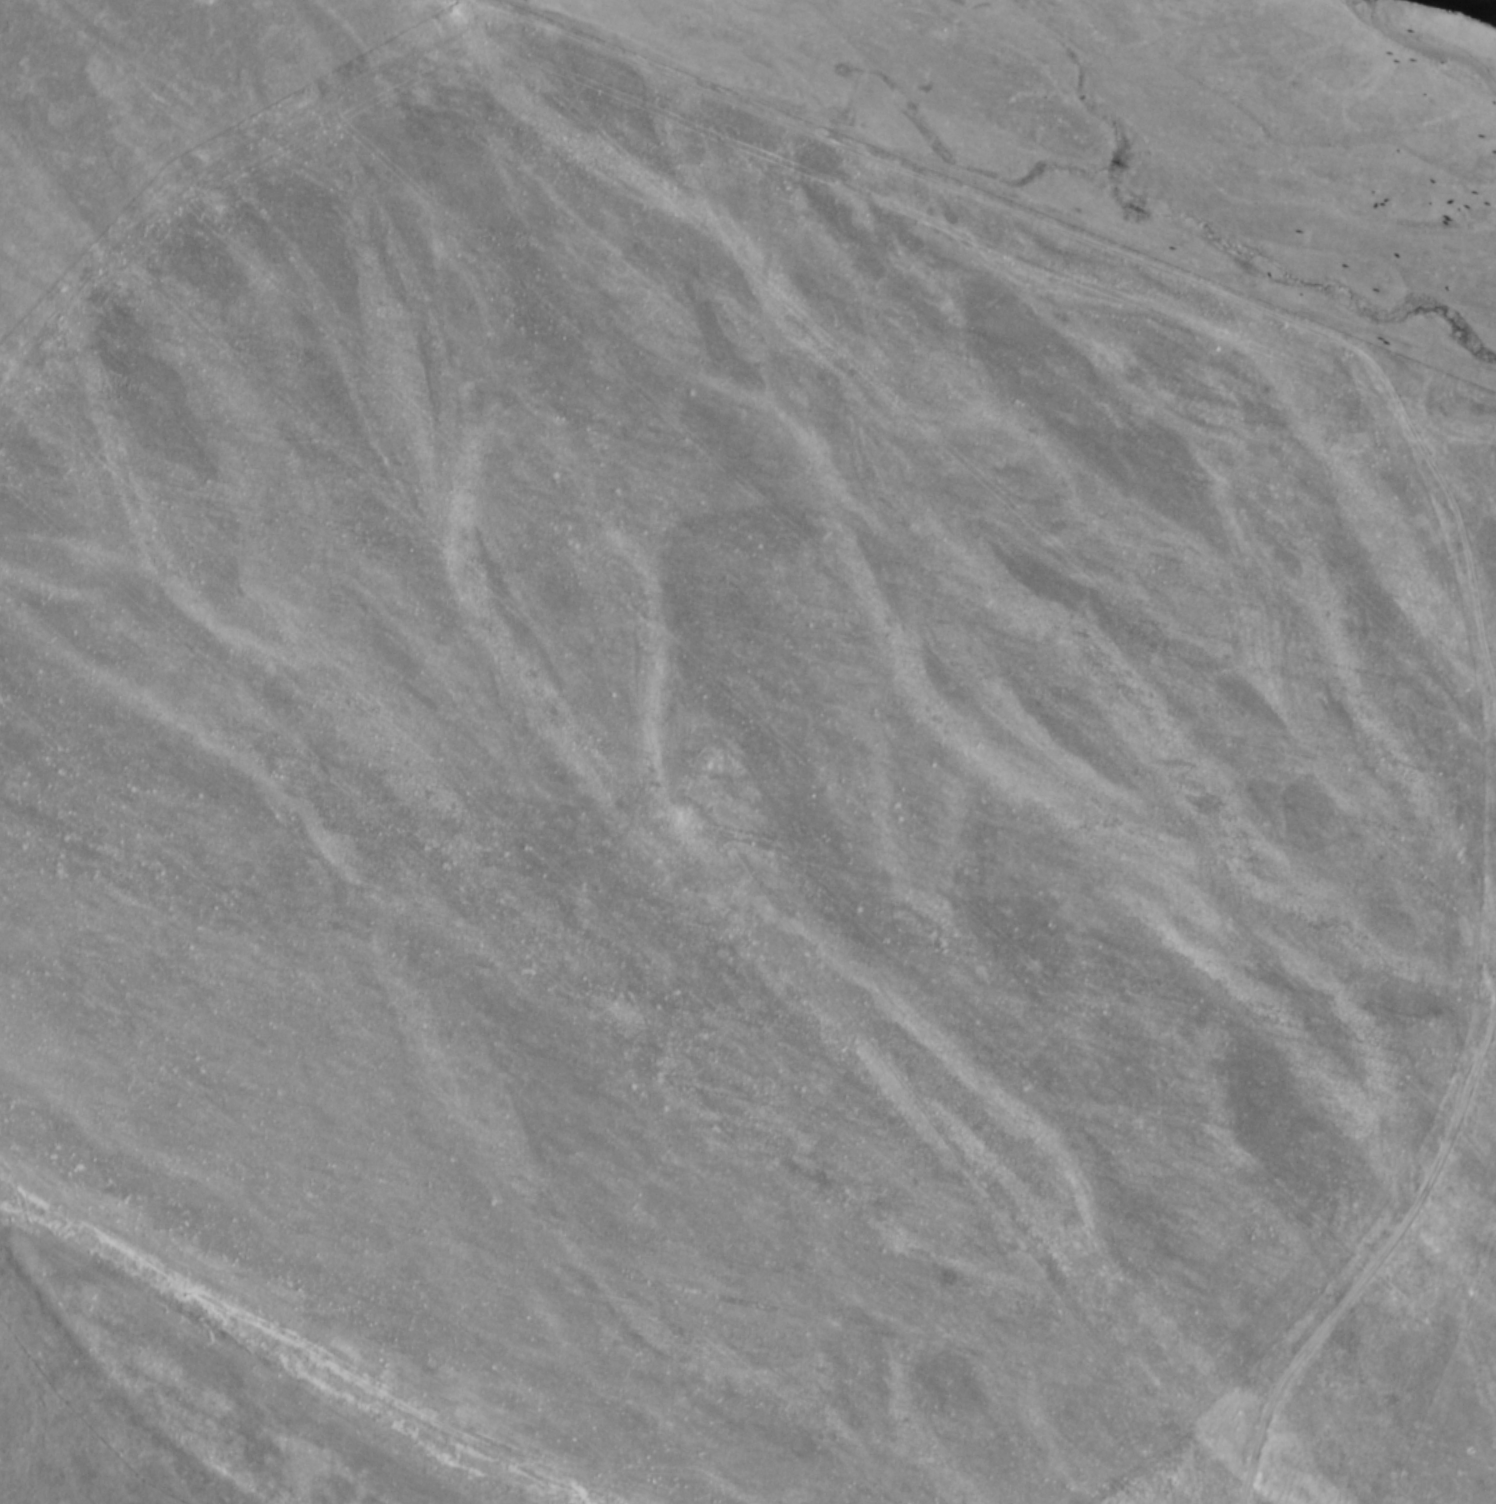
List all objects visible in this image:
crop: (707, 789)

